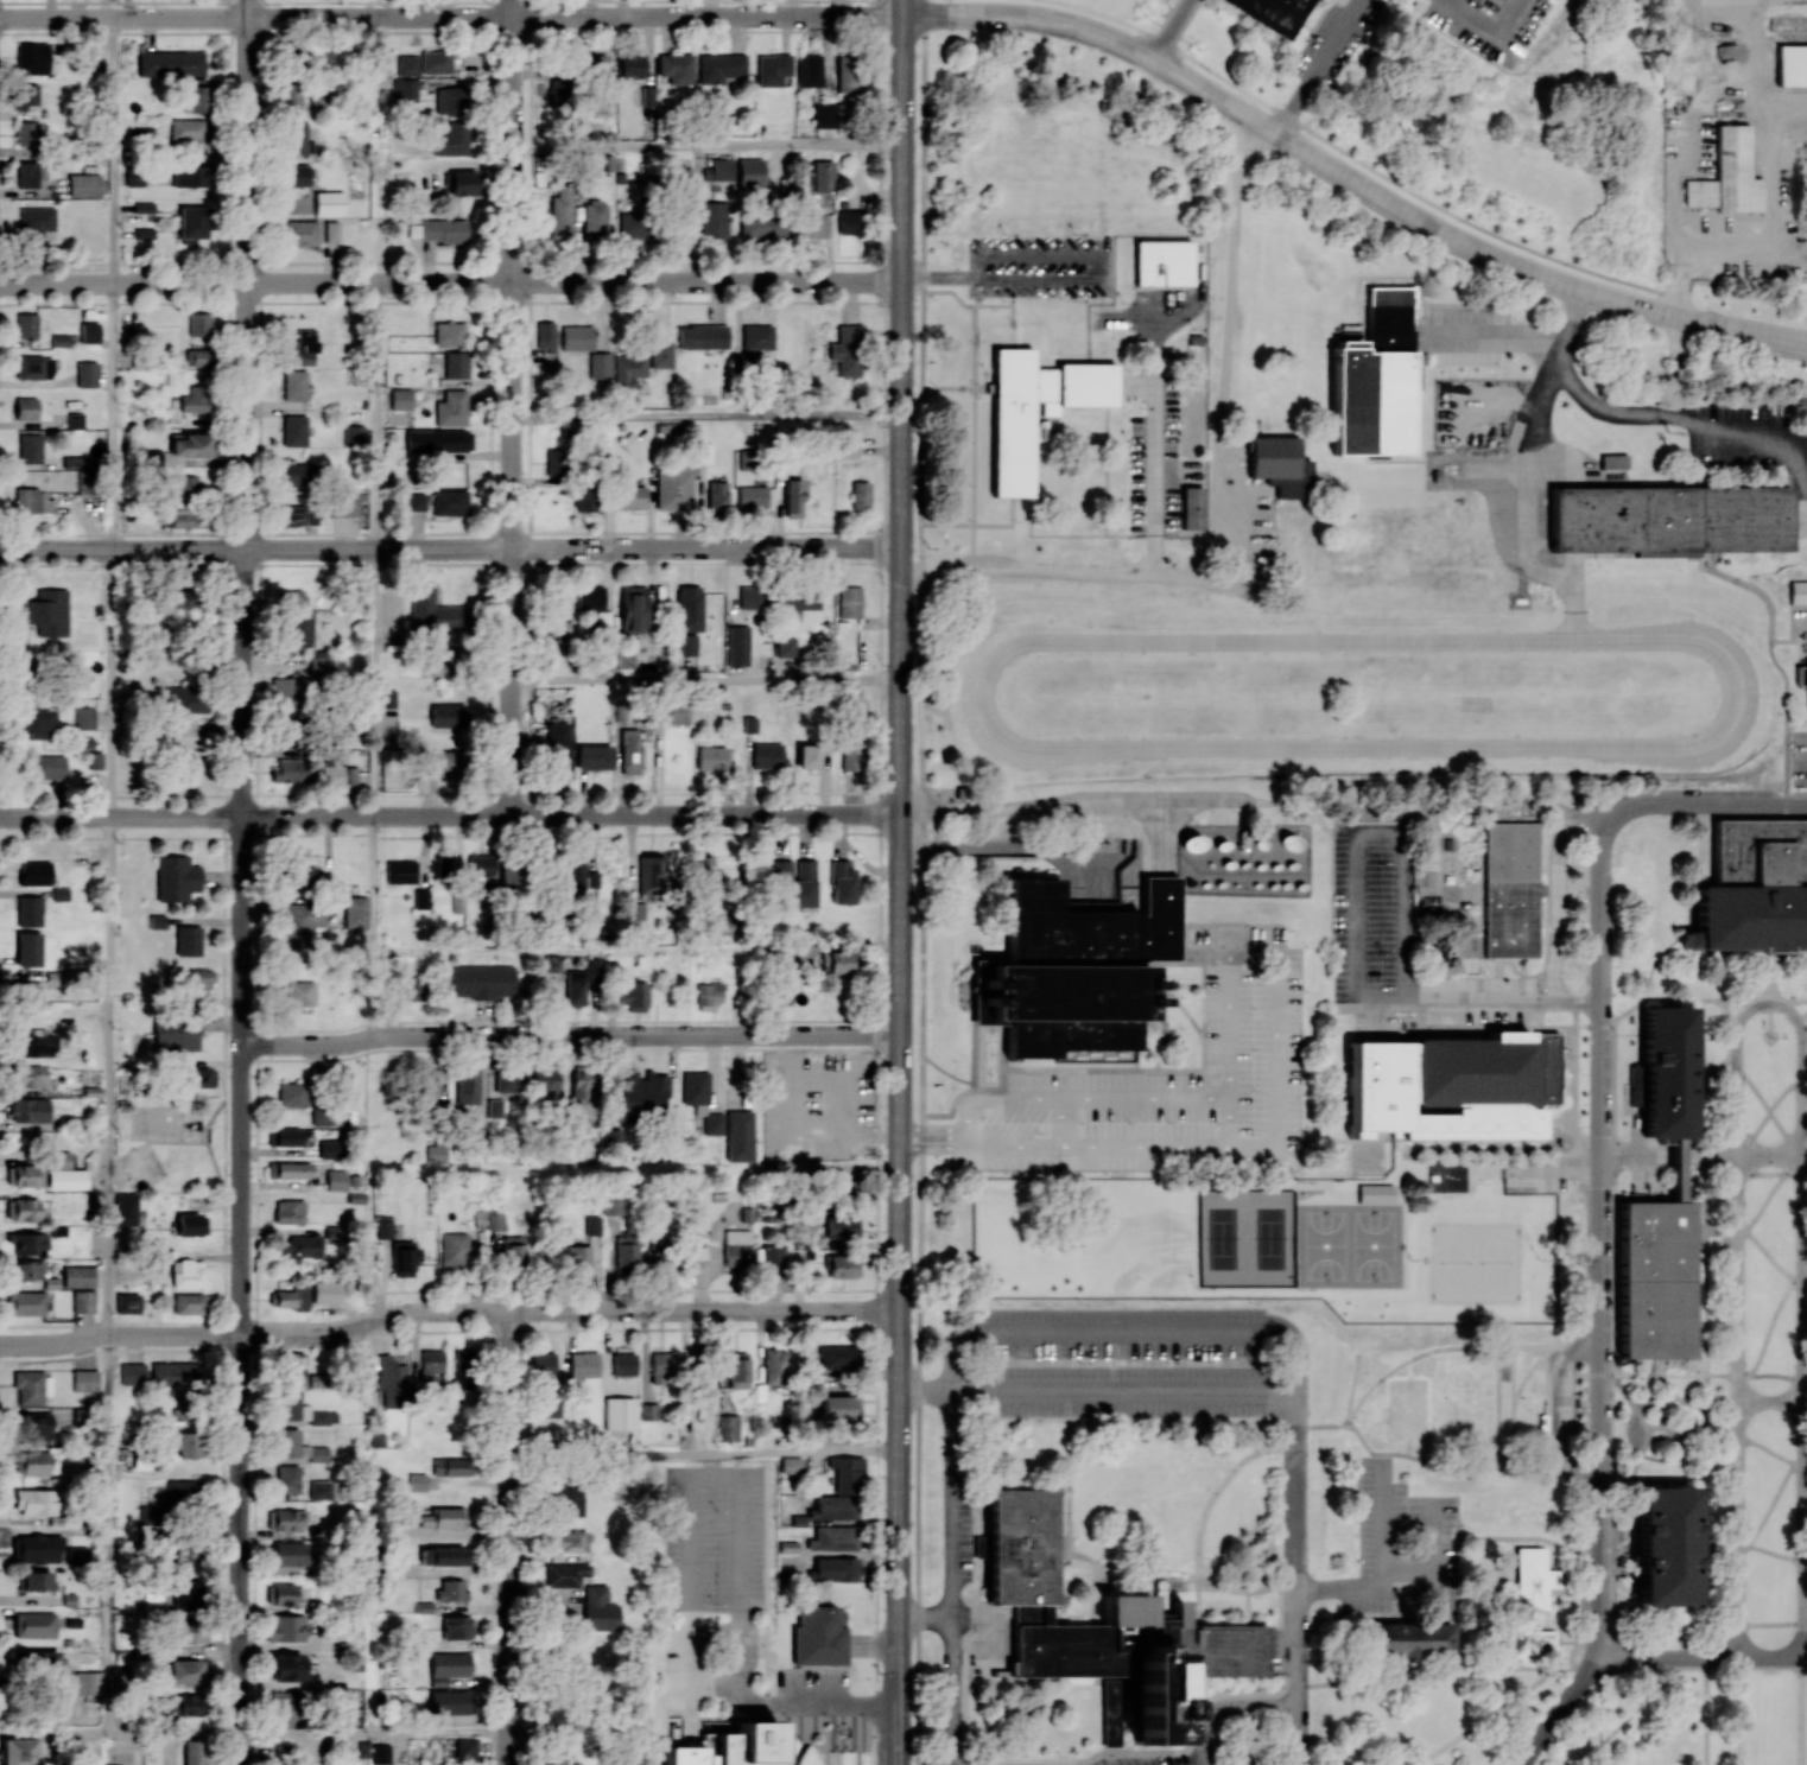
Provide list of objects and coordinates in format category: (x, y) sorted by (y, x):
road: (901, 7)
road: (113, 8)
road: (247, 8)
building: (1268, 13)
road: (575, 15)
road: (123, 17)
road: (1491, 26)
road: (1169, 28)
building: (32, 57)
building: (171, 63)
building: (436, 63)
building: (1792, 64)
building: (407, 65)
building: (590, 65)
building: (632, 65)
building: (719, 66)
building: (676, 68)
road: (1323, 68)
building: (772, 69)
building: (810, 70)
building: (848, 74)
building: (405, 89)
building: (291, 93)
building: (558, 94)
building: (195, 95)
building: (26, 96)
building: (647, 96)
building: (450, 100)
building: (830, 115)
building: (186, 128)
building: (26, 132)
building: (296, 136)
building: (451, 139)
road: (709, 148)
road: (113, 151)
building: (718, 169)
building: (26, 173)
building: (750, 173)
building: (189, 174)
building: (296, 174)
building: (1727, 174)
building: (134, 176)
building: (823, 176)
road: (1349, 178)
building: (463, 183)
building: (83, 184)
building: (329, 202)
building: (144, 207)
building: (560, 216)
building: (714, 218)
building: (595, 220)
building: (36, 222)
building: (848, 222)
building: (191, 223)
building: (633, 226)
building: (811, 226)
building: (763, 228)
building: (443, 230)
building: (299, 231)
building: (331, 231)
building: (144, 233)
road: (1776, 248)
road: (1073, 256)
building: (1162, 262)
road: (450, 281)
building: (198, 323)
building: (26, 324)
building: (89, 332)
building: (449, 334)
building: (545, 336)
building: (702, 336)
building: (756, 336)
building: (576, 337)
road: (1495, 337)
building: (59, 339)
building: (299, 348)
building: (845, 350)
building: (660, 354)
building: (199, 357)
building: (742, 361)
building: (456, 364)
building: (600, 366)
building: (33, 367)
building: (628, 369)
building: (87, 374)
building: (1374, 380)
building: (293, 385)
building: (400, 399)
building: (195, 400)
building: (1035, 407)
building: (26, 408)
building: (451, 408)
road: (515, 408)
road: (247, 415)
road: (373, 415)
road: (110, 417)
road: (708, 418)
building: (75, 420)
road: (1695, 420)
building: (293, 431)
building: (353, 436)
building: (438, 440)
building: (191, 444)
building: (30, 447)
building: (845, 450)
building: (150, 457)
building: (1612, 461)
building: (552, 462)
building: (1280, 465)
road: (1218, 469)
road: (1526, 474)
building: (294, 475)
building: (87, 482)
building: (184, 485)
building: (673, 488)
building: (860, 495)
building: (630, 496)
building: (753, 496)
building: (716, 497)
building: (793, 497)
building: (31, 500)
building: (416, 501)
building: (450, 502)
building: (344, 504)
building: (1190, 507)
building: (297, 515)
building: (184, 518)
building: (1669, 519)
road: (450, 547)
building: (1798, 592)
building: (183, 597)
building: (294, 597)
building: (590, 597)
building: (752, 597)
building: (849, 601)
building: (797, 602)
building: (689, 608)
building: (633, 609)
building: (45, 611)
building: (433, 612)
building: (558, 614)
building: (603, 620)
building: (298, 628)
building: (686, 645)
building: (737, 646)
building: (785, 646)
building: (624, 659)
building: (321, 662)
building: (1801, 675)
road: (706, 679)
park: (1368, 679)
road: (110, 682)
road: (373, 682)
building: (285, 692)
building: (188, 698)
building: (387, 698)
building: (678, 712)
building: (446, 715)
building: (84, 717)
building: (38, 722)
building: (557, 745)
road: (1689, 750)
building: (629, 751)
building: (849, 754)
building: (766, 755)
building: (807, 756)
building: (592, 757)
building: (710, 757)
building: (94, 761)
building: (448, 762)
building: (44, 766)
building: (291, 769)
building: (331, 775)
road: (1054, 802)
road: (1704, 804)
road: (121, 815)
road: (571, 815)
road: (1000, 845)
building: (443, 864)
building: (480, 864)
building: (699, 868)
building: (573, 870)
building: (400, 871)
building: (509, 871)
building: (34, 872)
building: (298, 875)
building: (176, 877)
building: (591, 878)
road: (759, 880)
building: (842, 881)
road: (373, 882)
building: (793, 883)
building: (646, 887)
building: (1752, 887)
building: (1509, 888)
road: (900, 889)
building: (59, 894)
building: (421, 899)
building: (28, 910)
building: (354, 912)
building: (299, 923)
road: (1357, 927)
building: (188, 940)
road: (636, 945)
building: (27, 947)
building: (835, 961)
building: (552, 963)
road: (1279, 965)
building: (1074, 972)
building: (53, 978)
building: (201, 980)
building: (482, 980)
building: (575, 986)
building: (411, 988)
building: (26, 989)
building: (299, 992)
road: (374, 992)
building: (633, 995)
building: (708, 995)
road: (1770, 995)
road: (1698, 998)
road: (1768, 1002)
road: (1802, 1015)
building: (176, 1034)
road: (1735, 1034)
road: (569, 1036)
building: (32, 1045)
road: (1713, 1067)
building: (1667, 1071)
building: (28, 1075)
road: (109, 1075)
building: (201, 1077)
building: (508, 1080)
building: (433, 1081)
parking lot: (1173, 1084)
building: (467, 1085)
building: (695, 1086)
building: (1450, 1086)
building: (545, 1087)
building: (582, 1087)
building: (291, 1094)
building: (640, 1094)
building: (494, 1107)
road: (1771, 1107)
road: (1598, 1109)
building: (28, 1110)
road: (1768, 1110)
building: (319, 1115)
road: (1802, 1116)
road: (1061, 1122)
road: (1226, 1122)
building: (712, 1123)
road: (1805, 1125)
building: (738, 1135)
building: (292, 1137)
road: (969, 1139)
park: (172, 1142)
building: (329, 1148)
building: (437, 1153)
road: (1700, 1153)
road: (1787, 1153)
road: (1805, 1153)
road: (1751, 1154)
park: (141, 1163)
building: (289, 1169)
building: (64, 1172)
road: (1490, 1173)
building: (25, 1174)
building: (336, 1181)
building: (847, 1181)
road: (1771, 1189)
building: (25, 1208)
building: (125, 1208)
building: (289, 1211)
building: (495, 1220)
building: (190, 1224)
building: (592, 1225)
building: (842, 1227)
building: (383, 1230)
building: (331, 1234)
road: (1750, 1234)
park: (1243, 1238)
road: (1111, 1240)
road: (1177, 1240)
building: (26, 1243)
park: (1350, 1244)
building: (299, 1247)
building: (737, 1247)
building: (454, 1249)
building: (627, 1250)
building: (657, 1251)
building: (773, 1253)
building: (404, 1258)
building: (577, 1259)
building: (843, 1266)
building: (27, 1269)
building: (188, 1272)
building: (78, 1276)
building: (1654, 1278)
road: (1420, 1281)
road: (241, 1289)
building: (292, 1297)
building: (83, 1301)
building: (25, 1302)
building: (127, 1302)
building: (190, 1303)
road: (569, 1312)
road: (1773, 1321)
road: (1118, 1333)
road: (120, 1334)
building: (837, 1357)
parking lot: (1128, 1363)
building: (291, 1364)
building: (431, 1364)
building: (543, 1364)
building: (583, 1364)
building: (623, 1364)
building: (773, 1366)
road: (1737, 1366)
building: (661, 1367)
building: (464, 1369)
building: (737, 1370)
building: (175, 1372)
building: (132, 1373)
road: (1732, 1374)
building: (84, 1379)
building: (392, 1382)
building: (31, 1386)
road: (1120, 1391)
road: (1770, 1399)
building: (180, 1402)
road: (1689, 1403)
road: (1803, 1403)
building: (838, 1407)
building: (551, 1408)
building: (298, 1409)
building: (648, 1410)
building: (619, 1412)
building: (36, 1426)
building: (728, 1428)
road: (1705, 1429)
building: (287, 1442)
building: (189, 1445)
road: (704, 1450)
building: (37, 1464)
building: (791, 1465)
building: (451, 1466)
building: (847, 1474)
building: (287, 1479)
building: (417, 1481)
building: (182, 1490)
building: (34, 1500)
building: (569, 1500)
road: (1771, 1505)
building: (832, 1507)
road: (953, 1511)
building: (151, 1515)
building: (443, 1517)
building: (285, 1519)
road: (1600, 1530)
road: (108, 1534)
building: (832, 1537)
road: (509, 1538)
building: (569, 1539)
building: (37, 1542)
building: (1663, 1545)
road: (1750, 1545)
road: (1289, 1549)
building: (182, 1553)
building: (289, 1553)
building: (444, 1555)
road: (690, 1562)
building: (833, 1569)
building: (566, 1574)
building: (1533, 1577)
building: (37, 1580)
building: (451, 1589)
building: (188, 1593)
building: (280, 1593)
parking lot: (718, 1605)
building: (600, 1608)
road: (926, 1620)
building: (1102, 1623)
building: (33, 1625)
building: (457, 1626)
building: (285, 1627)
building: (186, 1631)
road: (715, 1631)
building: (818, 1636)
building: (1407, 1640)
road: (1586, 1640)
building: (1527, 1643)
road: (1704, 1656)
building: (40, 1659)
building: (450, 1664)
building: (286, 1668)
building: (186, 1671)
building: (87, 1684)
building: (184, 1703)
building: (449, 1704)
building: (284, 1708)
road: (1225, 1708)
road: (1558, 1708)
road: (1738, 1710)
road: (1803, 1710)
park: (1686, 1718)
road: (53, 1733)
road: (175, 1733)
road: (376, 1733)
building: (465, 1746)
building: (733, 1747)
building: (363, 1748)
building: (18, 1751)
building: (196, 1752)
building: (380, 1753)
building: (551, 1758)

